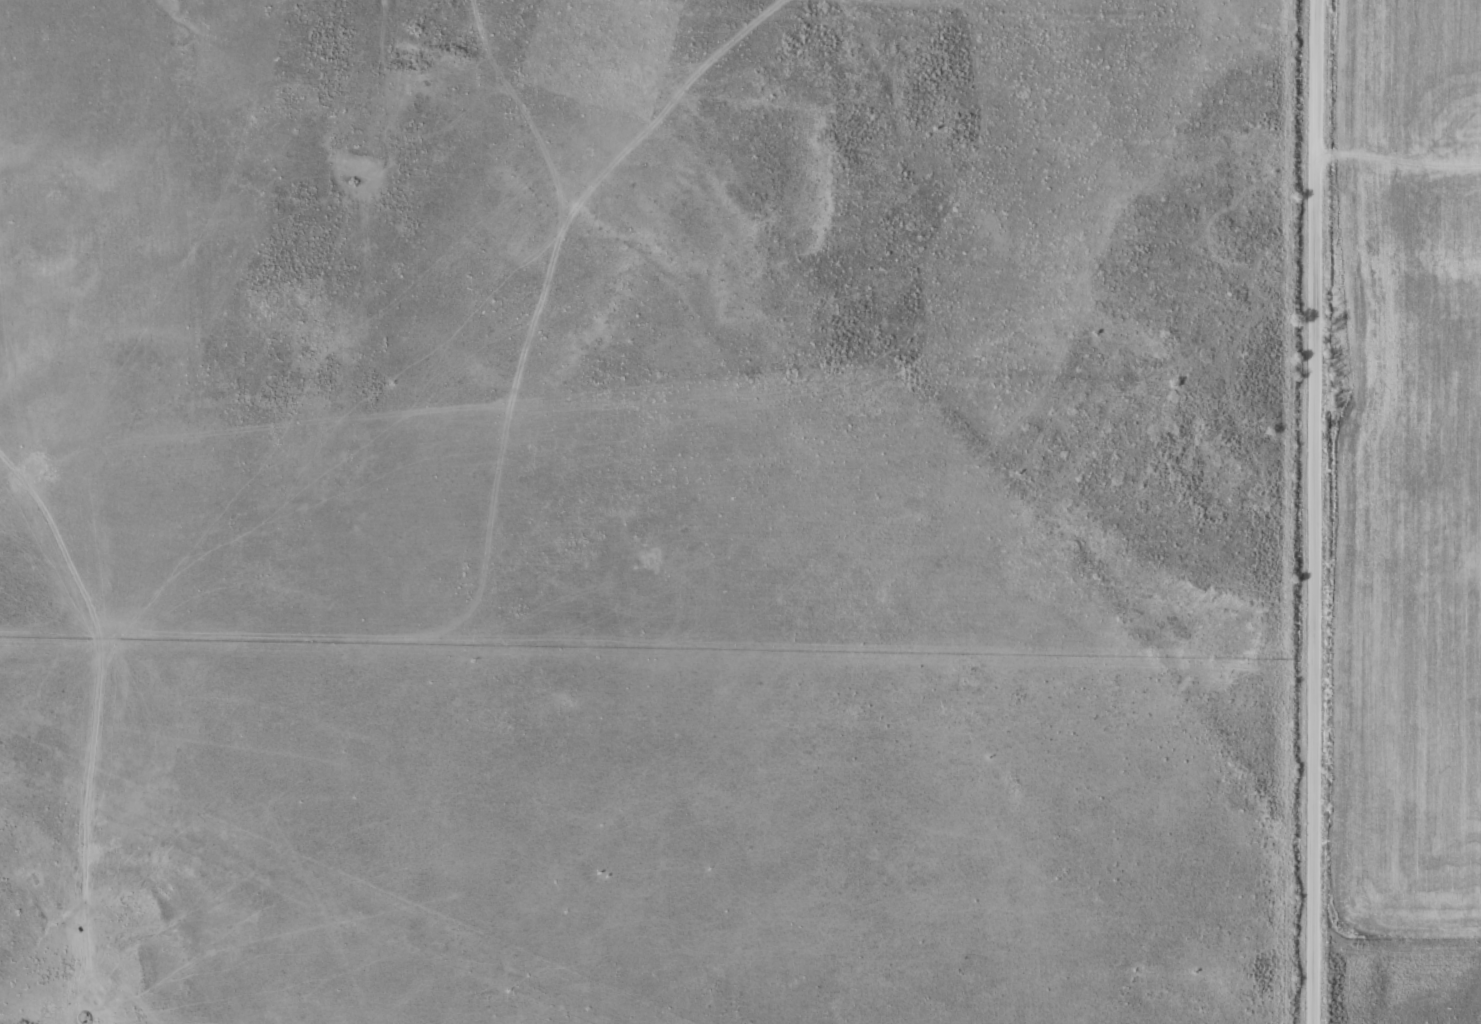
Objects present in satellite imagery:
road: (1319, 511)

